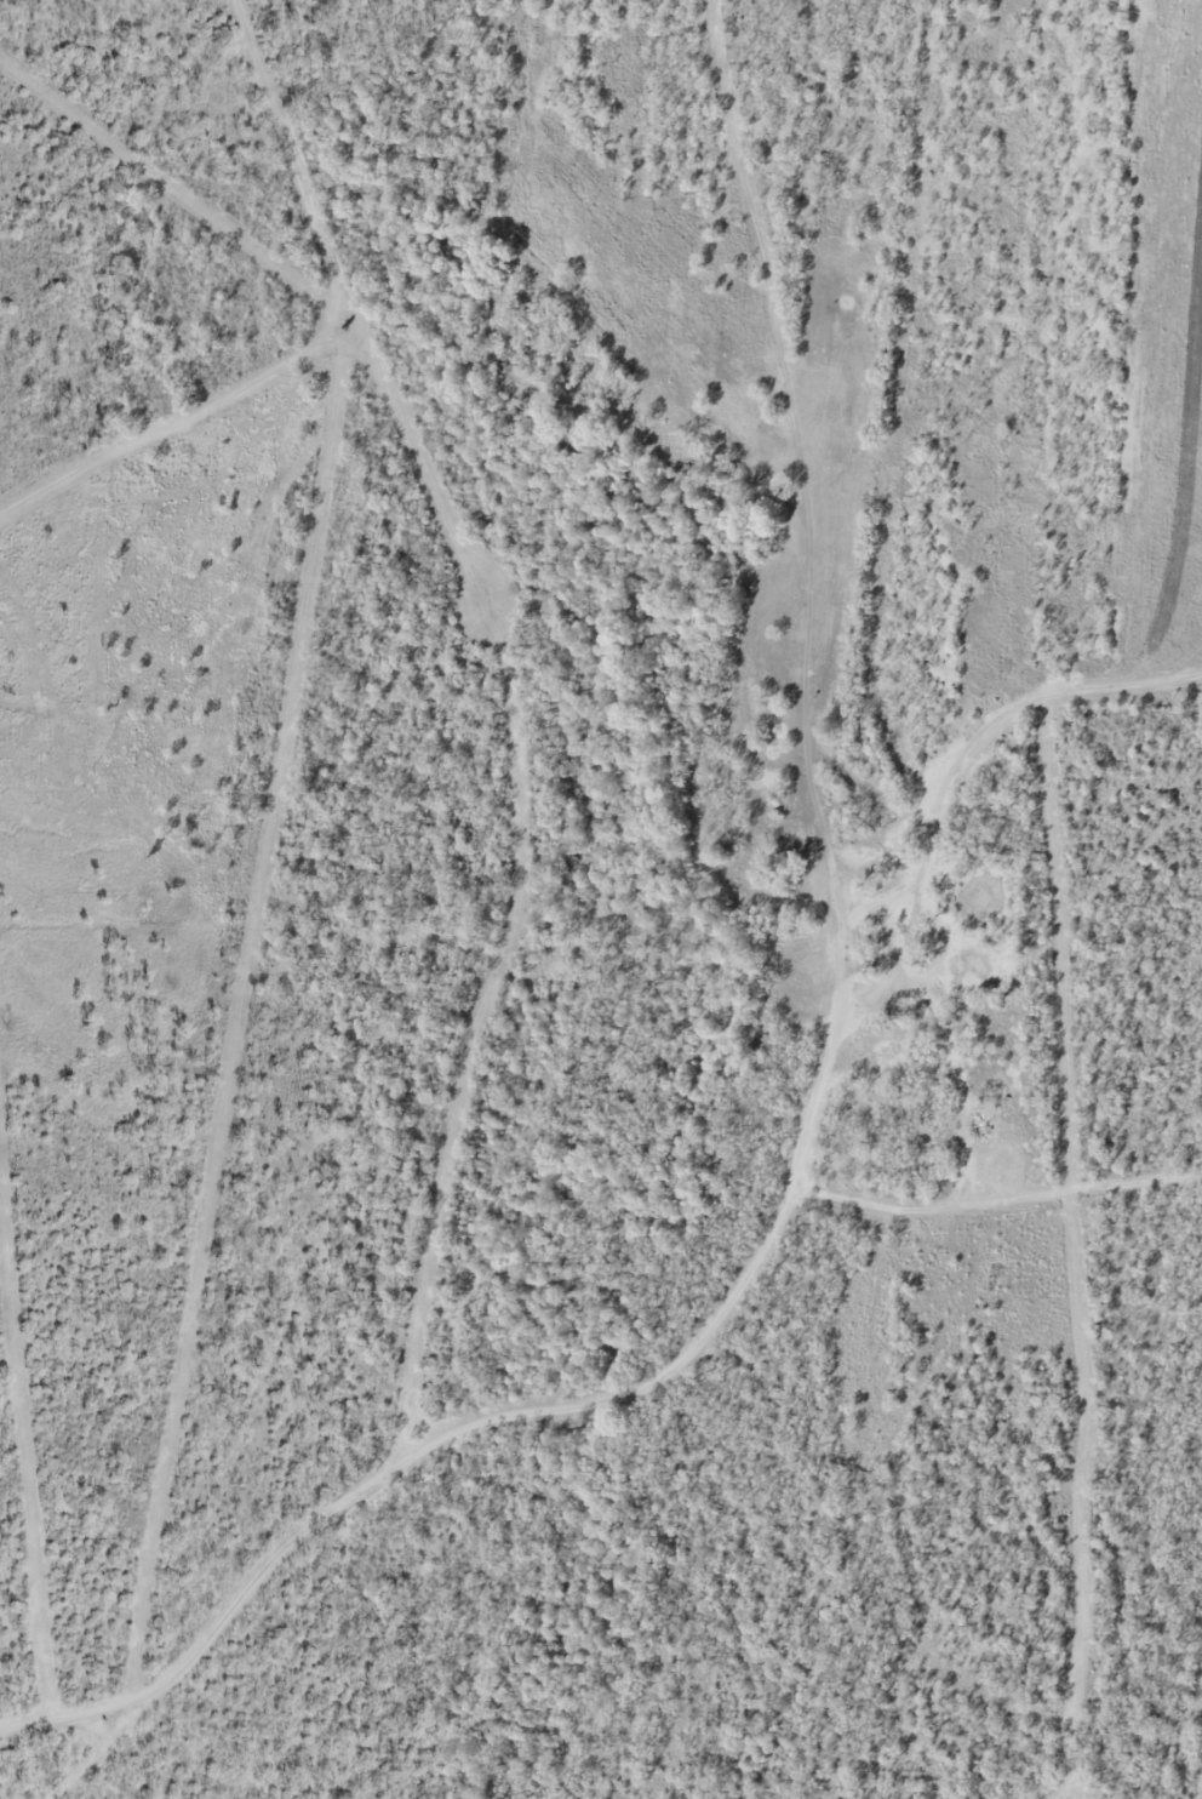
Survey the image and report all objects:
road: (265, 846)
road: (519, 880)
road: (715, 1317)
road: (33, 1736)

